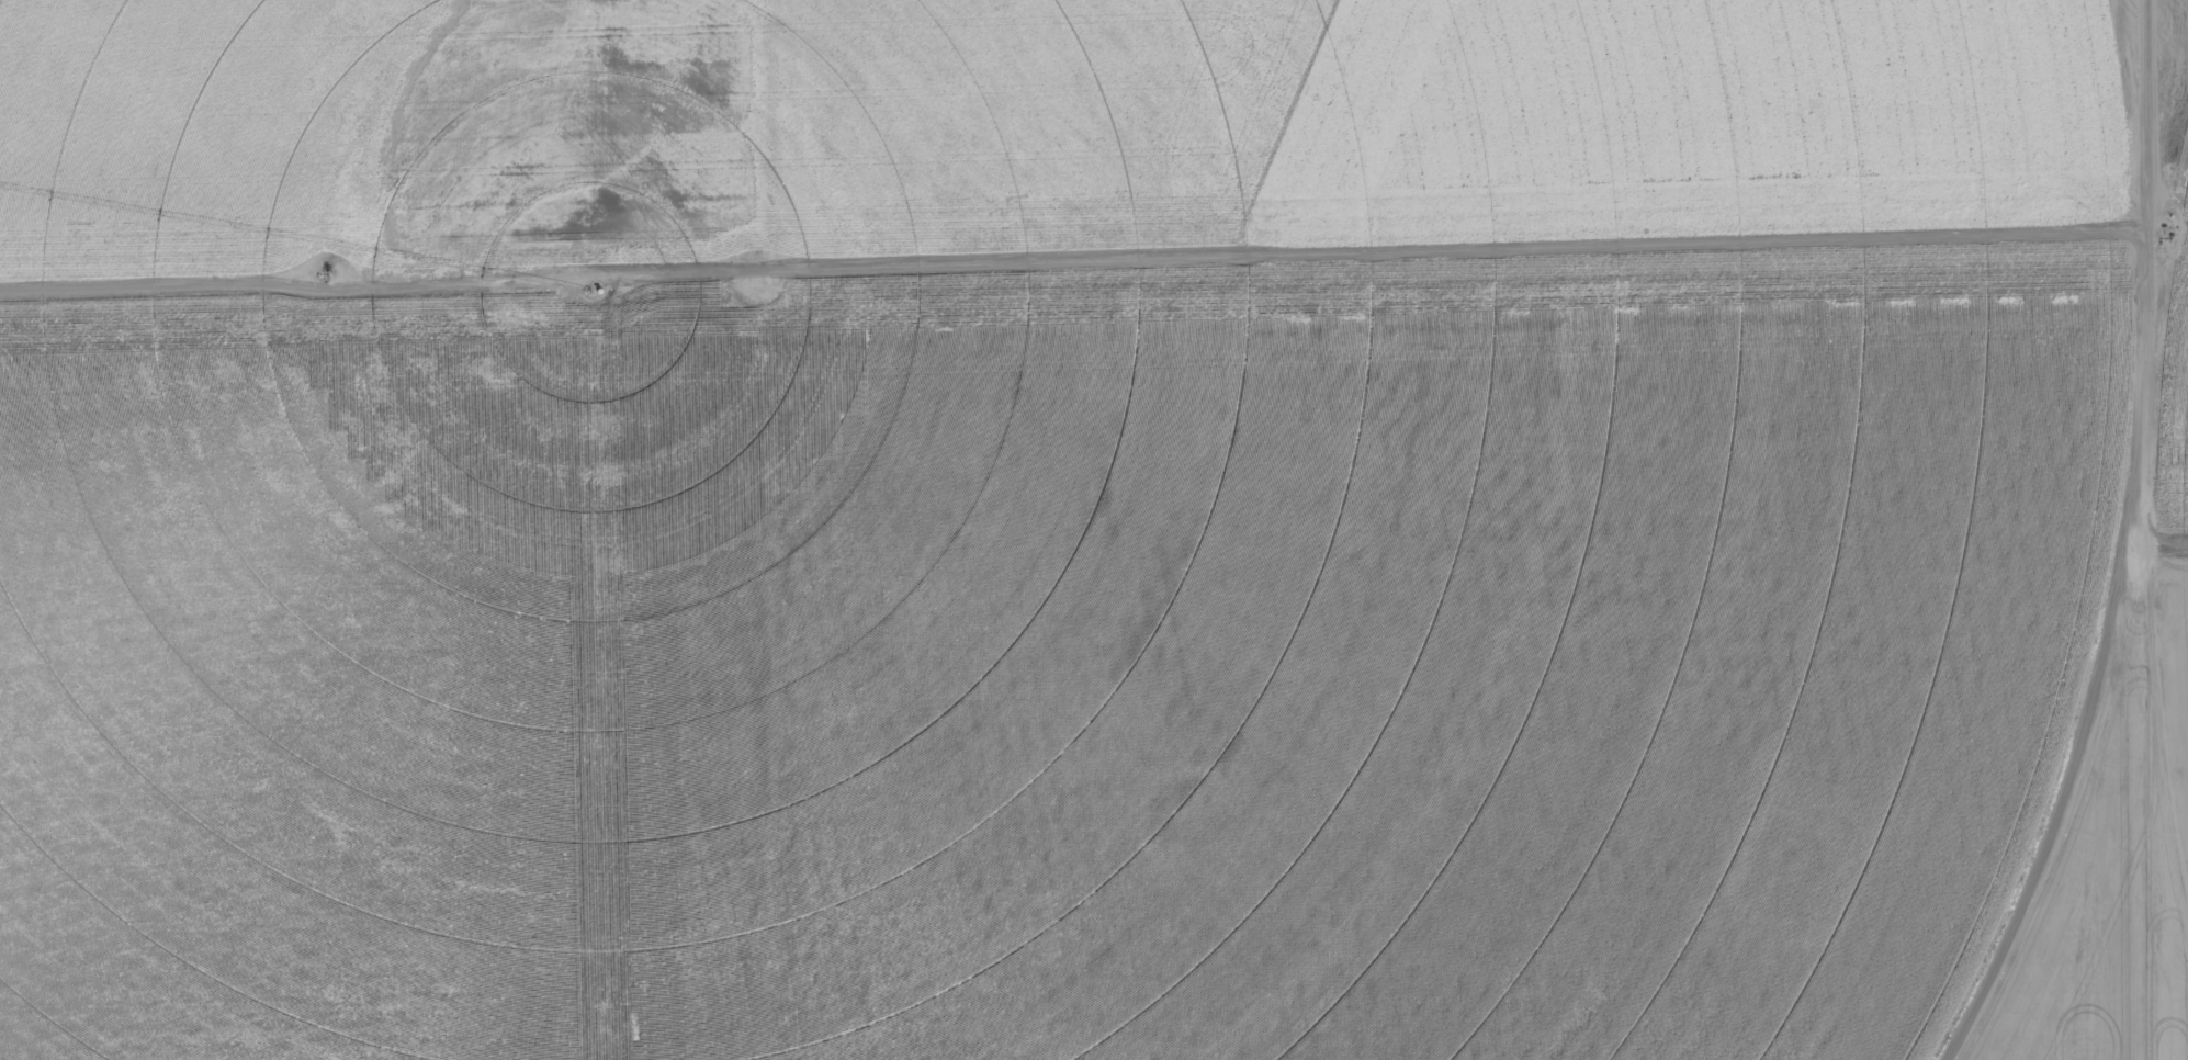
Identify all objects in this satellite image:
road: (2180, 217)

